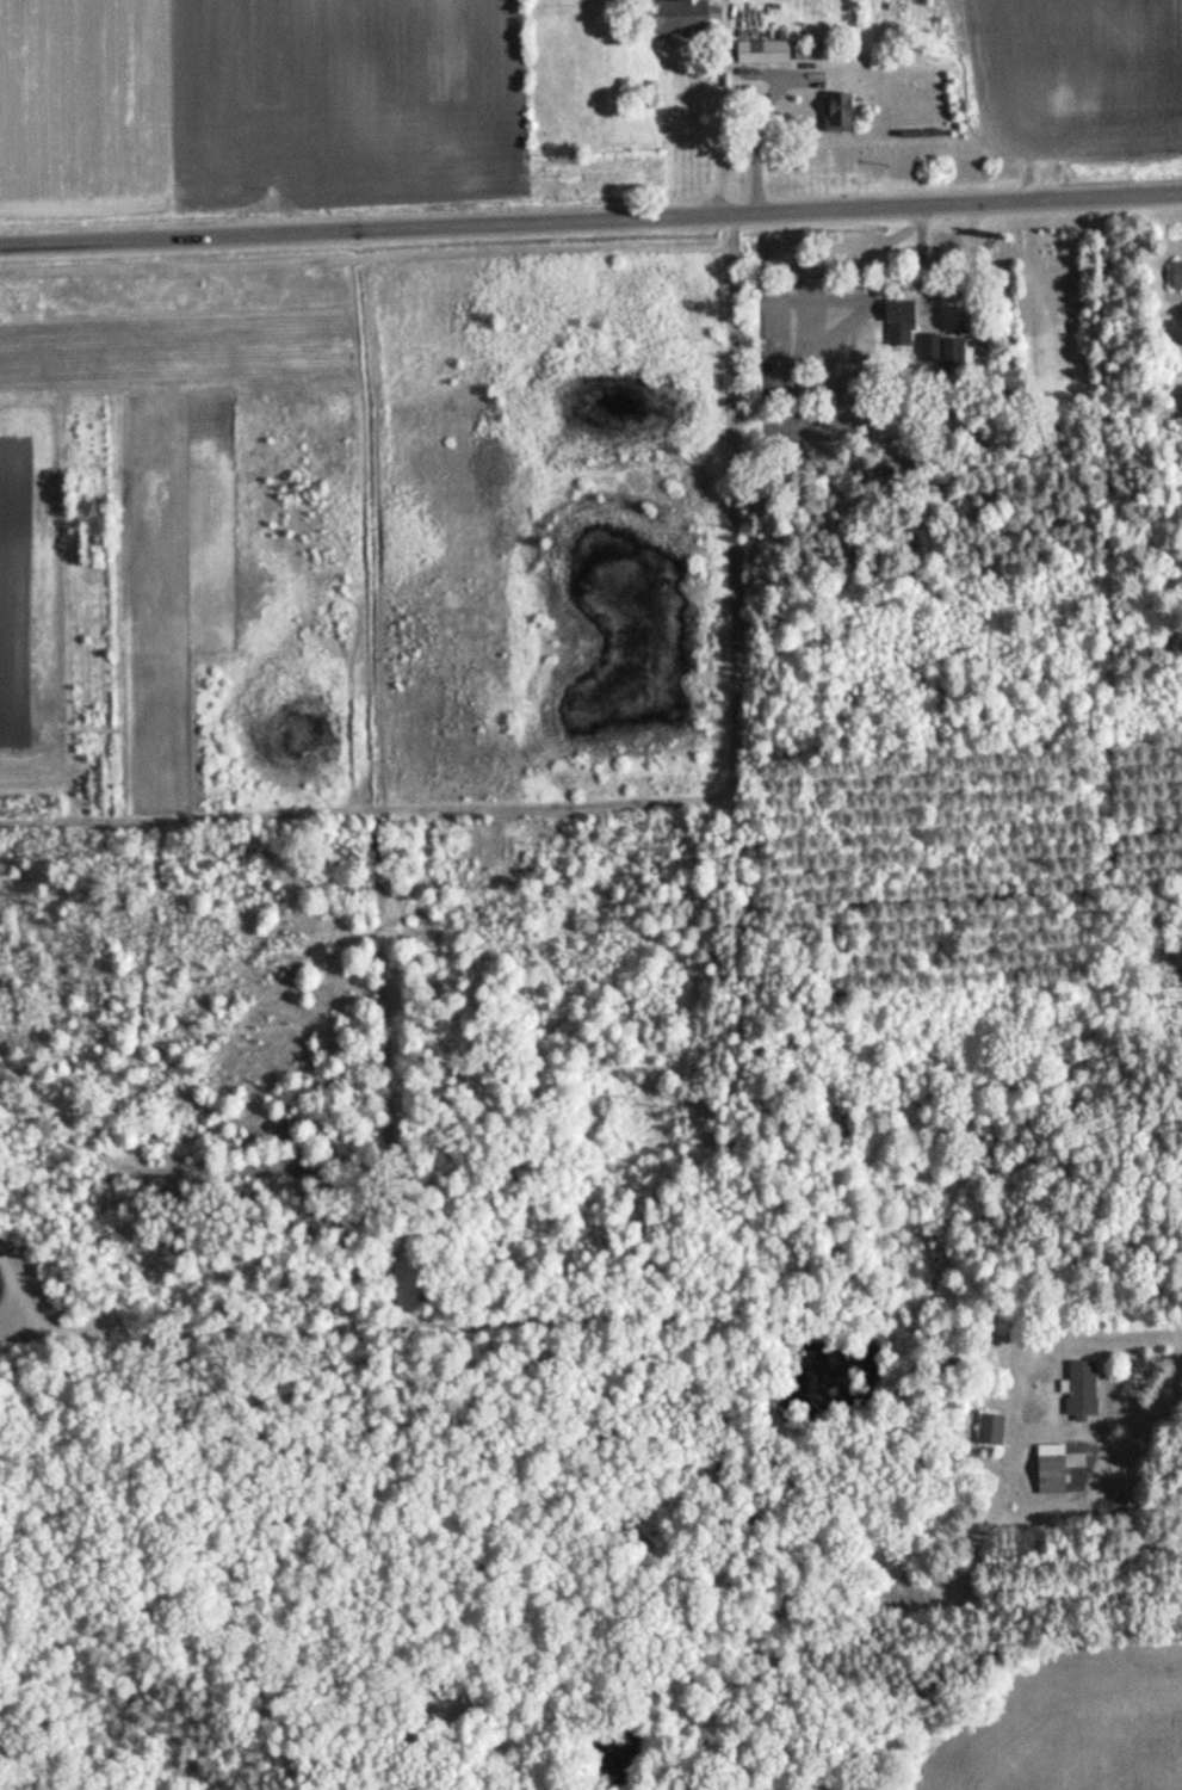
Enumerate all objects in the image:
building: (673, 17)
building: (760, 53)
building: (803, 53)
building: (835, 113)
road: (739, 142)
road: (590, 221)
road: (924, 266)
building: (1175, 276)
building: (896, 323)
building: (927, 350)
building: (1078, 1391)
road: (1149, 1395)
building: (988, 1432)
building: (1048, 1470)

